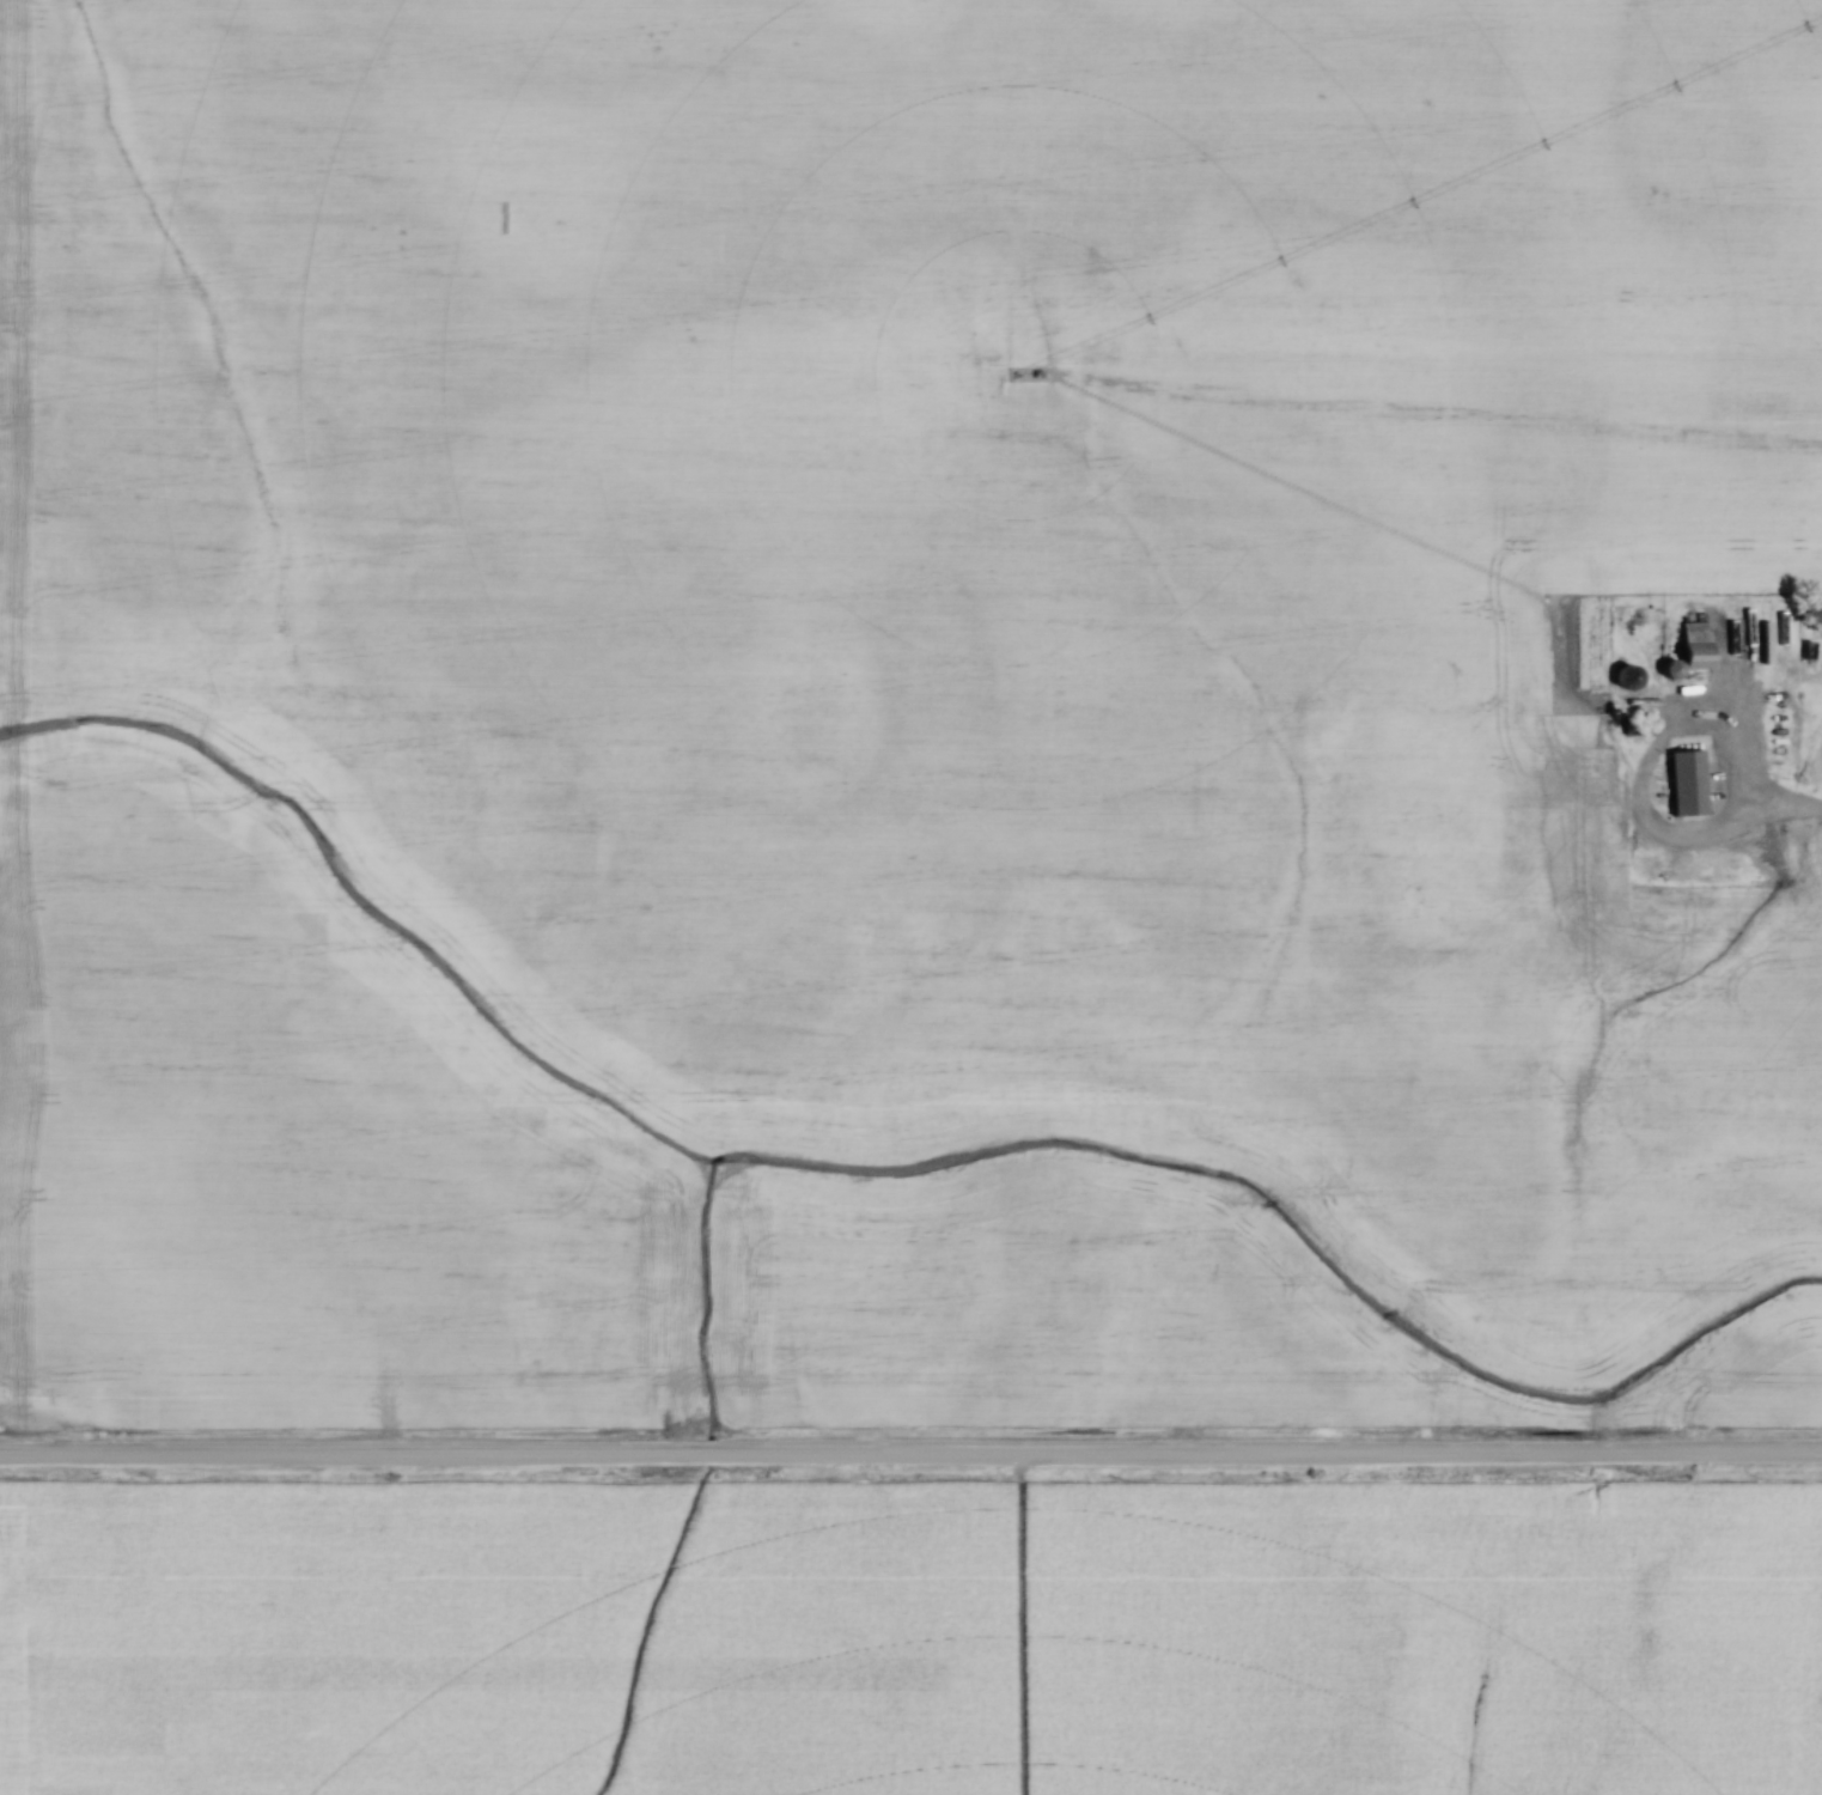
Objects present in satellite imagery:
building: (1698, 646)
building: (1672, 670)
building: (1628, 679)
building: (1688, 785)
road: (1737, 820)
road: (910, 1455)

